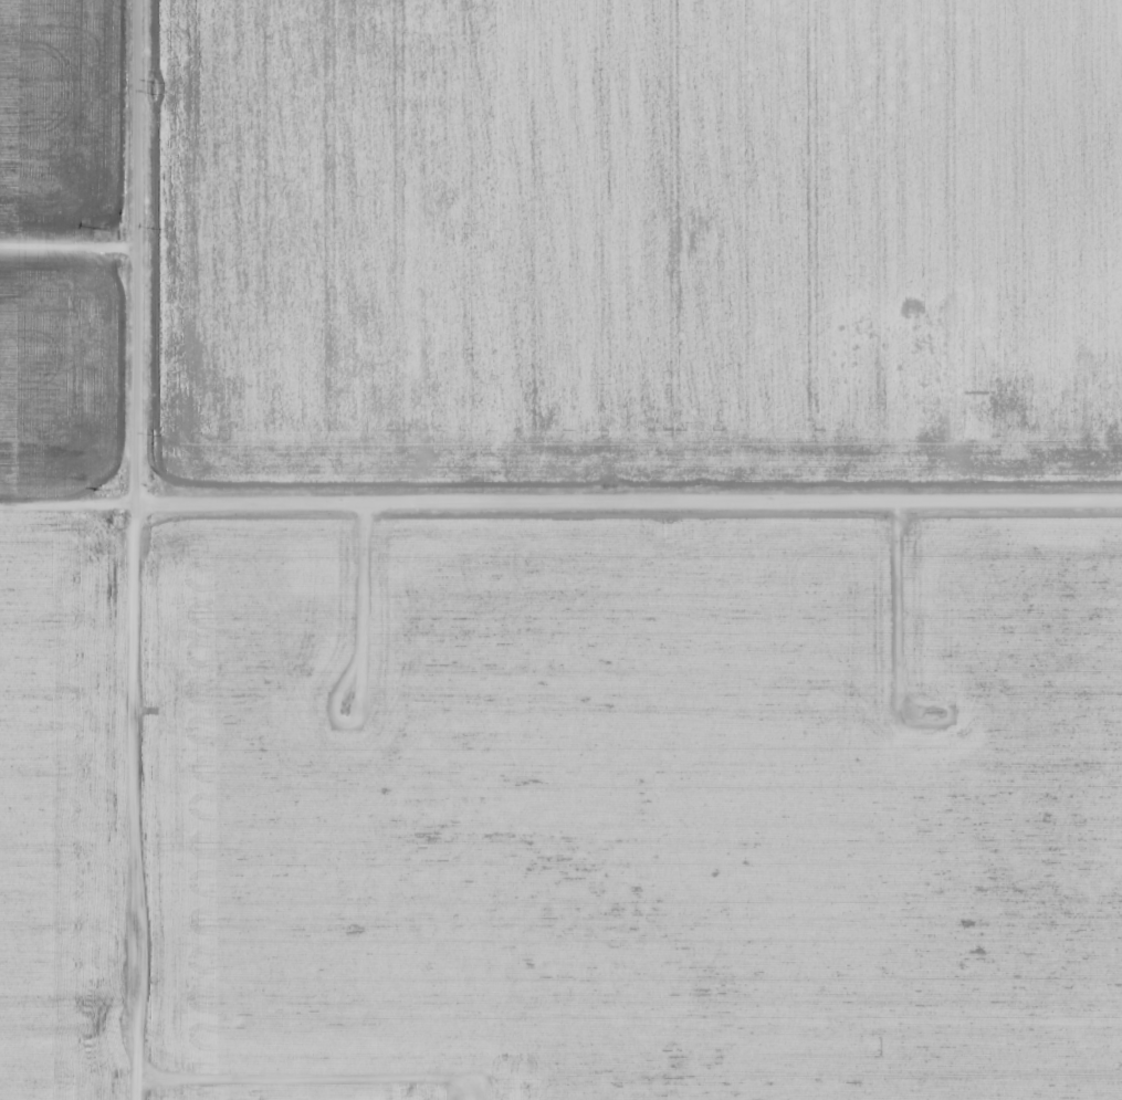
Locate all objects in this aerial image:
road: (628, 501)
road: (66, 502)
road: (134, 549)

